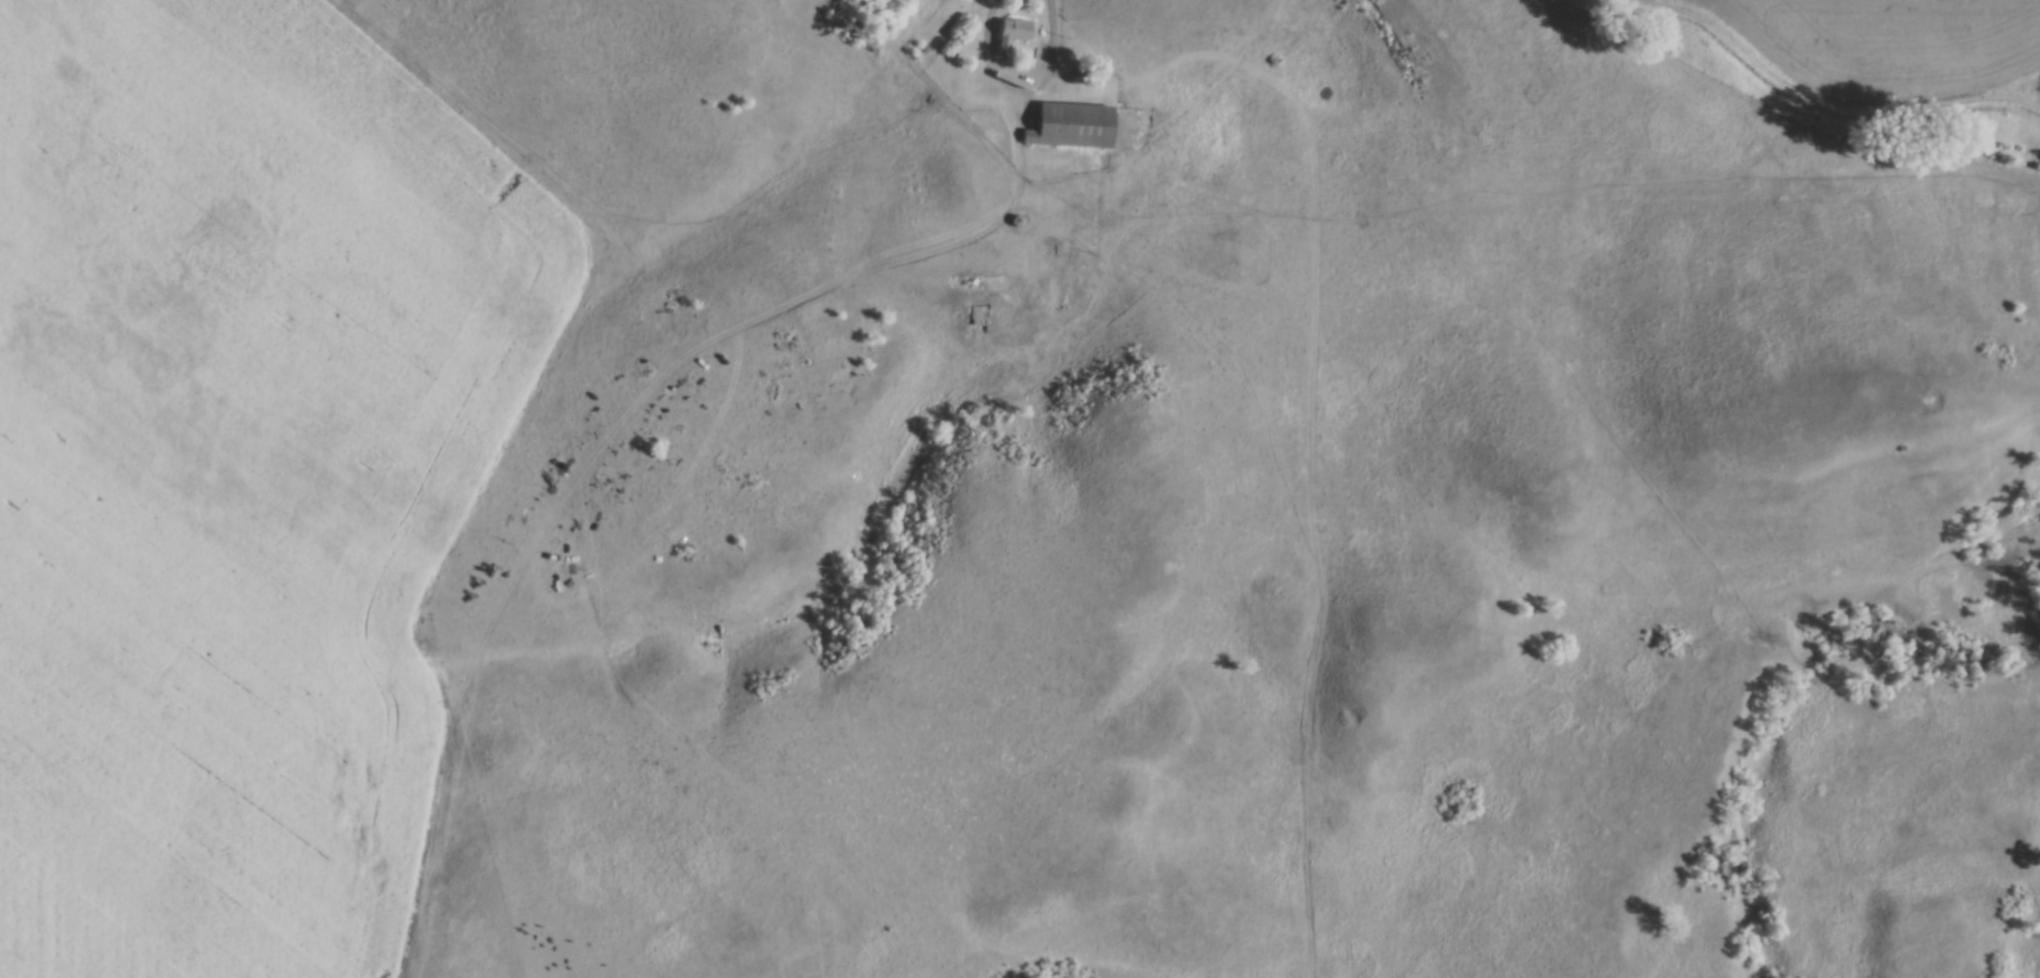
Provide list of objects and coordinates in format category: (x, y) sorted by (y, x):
building: (1012, 37)
road: (1018, 73)
building: (1071, 126)
road: (1306, 405)

